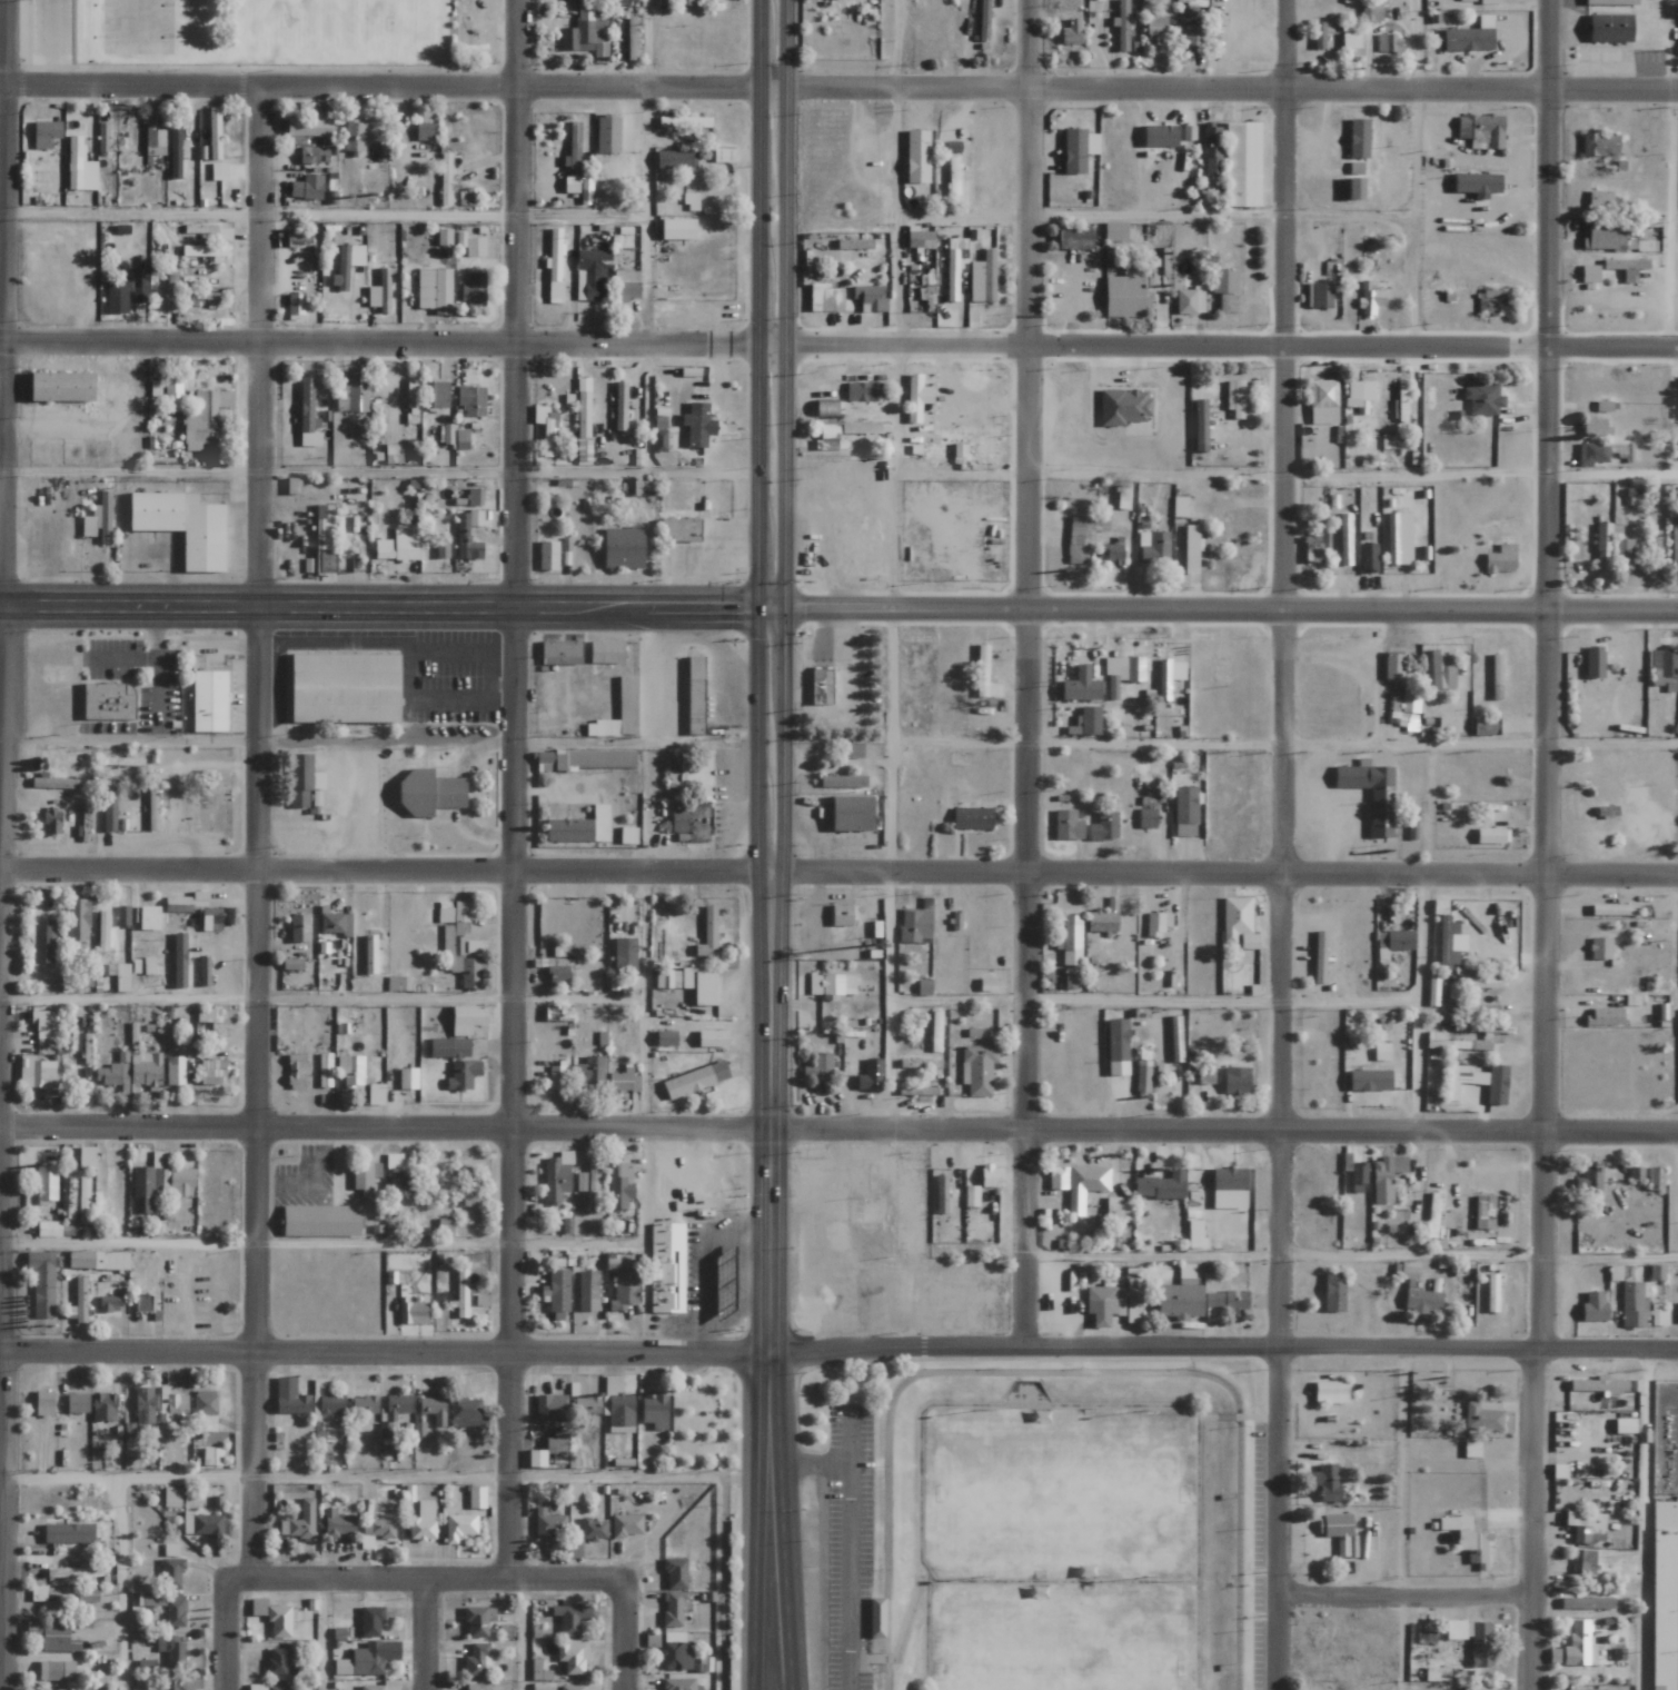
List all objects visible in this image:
building: (1487, 1)
building: (1609, 2)
building: (1193, 4)
building: (1370, 12)
building: (984, 20)
building: (1123, 24)
building: (1605, 29)
building: (1155, 30)
building: (1072, 32)
building: (587, 33)
building: (1318, 34)
building: (1193, 36)
building: (1677, 37)
building: (1467, 38)
building: (633, 39)
building: (1348, 41)
road: (647, 43)
building: (1386, 44)
road: (838, 86)
building: (686, 122)
building: (216, 123)
building: (310, 127)
building: (1478, 129)
building: (427, 131)
building: (47, 133)
building: (608, 135)
building: (1163, 136)
building: (103, 138)
building: (354, 138)
building: (1354, 138)
building: (155, 140)
building: (1596, 143)
building: (1080, 149)
building: (575, 150)
building: (1212, 151)
building: (175, 152)
building: (379, 153)
building: (311, 155)
building: (919, 156)
building: (677, 159)
building: (1245, 163)
building: (80, 167)
building: (219, 171)
road: (1416, 175)
building: (953, 176)
building: (445, 179)
building: (330, 181)
building: (1473, 182)
building: (307, 188)
building: (580, 188)
building: (1353, 188)
building: (468, 197)
building: (1598, 200)
building: (692, 202)
road: (322, 215)
road: (646, 215)
road: (1089, 215)
road: (1350, 215)
building: (678, 229)
building: (1118, 231)
building: (444, 237)
building: (921, 238)
building: (1078, 239)
building: (471, 245)
building: (205, 251)
building: (347, 264)
building: (556, 265)
building: (1625, 267)
building: (1587, 274)
building: (952, 276)
building: (983, 278)
building: (201, 282)
building: (139, 286)
building: (627, 286)
building: (474, 289)
building: (1227, 289)
building: (170, 290)
building: (435, 290)
building: (381, 291)
building: (1128, 294)
building: (1318, 296)
building: (118, 297)
building: (827, 298)
building: (871, 298)
building: (1369, 298)
building: (1191, 300)
building: (1487, 306)
building: (296, 307)
road: (838, 344)
road: (2, 370)
building: (63, 386)
building: (862, 391)
building: (172, 395)
building: (353, 395)
building: (413, 395)
building: (436, 395)
building: (1357, 395)
building: (919, 397)
building: (1239, 397)
building: (1480, 398)
building: (473, 400)
building: (1320, 401)
building: (1398, 401)
building: (620, 406)
building: (1124, 406)
building: (1600, 406)
building: (830, 408)
building: (308, 415)
building: (205, 418)
building: (699, 425)
building: (1597, 427)
building: (545, 428)
building: (862, 428)
building: (1134, 429)
building: (831, 431)
road: (892, 435)
building: (454, 437)
building: (661, 440)
building: (1386, 441)
building: (396, 453)
building: (1590, 453)
road: (378, 473)
road: (1353, 477)
building: (475, 496)
building: (1634, 498)
building: (1181, 507)
building: (476, 517)
building: (100, 520)
building: (460, 523)
building: (187, 526)
building: (682, 530)
building: (1082, 536)
building: (1397, 538)
building: (326, 539)
building: (1343, 539)
building: (1675, 543)
building: (399, 546)
building: (1601, 546)
building: (1153, 547)
building: (468, 548)
building: (624, 548)
building: (1656, 548)
building: (441, 549)
building: (1193, 549)
building: (1111, 554)
building: (1621, 554)
building: (549, 556)
building: (1367, 556)
building: (1498, 559)
road: (757, 561)
road: (781, 561)
building: (308, 566)
traffic signals: (757, 609)
traffic signals: (781, 609)
road: (838, 609)
road: (386, 630)
road: (340, 644)
road: (399, 645)
building: (560, 653)
building: (607, 653)
road: (335, 657)
road: (461, 658)
building: (1662, 663)
building: (1590, 664)
building: (697, 667)
building: (1438, 668)
building: (1390, 669)
parking lot: (403, 672)
road: (1030, 673)
building: (1123, 673)
building: (986, 675)
road: (1542, 675)
building: (1169, 677)
road: (450, 678)
road: (503, 678)
building: (1657, 678)
road: (408, 682)
road: (269, 683)
road: (291, 683)
building: (1083, 686)
building: (824, 687)
building: (345, 689)
road: (398, 690)
building: (627, 698)
building: (210, 700)
building: (109, 703)
road: (461, 705)
building: (1403, 707)
building: (1088, 722)
road: (385, 723)
building: (1446, 724)
building: (1482, 726)
building: (1677, 732)
road: (498, 738)
road: (378, 740)
road: (1283, 745)
building: (855, 752)
road: (1343, 754)
road: (425, 755)
road: (1307, 755)
building: (545, 757)
building: (596, 759)
road: (443, 769)
building: (673, 774)
building: (305, 779)
building: (844, 782)
building: (54, 783)
road: (1314, 787)
road: (516, 789)
building: (399, 791)
road: (498, 791)
building: (1373, 792)
road: (459, 793)
building: (431, 795)
road: (1394, 796)
road: (1307, 801)
road: (1307, 802)
building: (109, 805)
building: (152, 806)
road: (1321, 808)
parking lot: (1329, 809)
building: (1186, 812)
road: (1332, 813)
road: (1359, 813)
building: (853, 814)
building: (83, 817)
building: (973, 817)
building: (1148, 818)
building: (52, 822)
road: (444, 823)
building: (692, 825)
building: (1068, 825)
building: (1105, 826)
road: (425, 827)
building: (583, 827)
building: (1409, 827)
road: (256, 832)
building: (1488, 835)
road: (1332, 837)
road: (498, 838)
road: (1357, 838)
road: (1382, 838)
road: (1282, 845)
road: (448, 856)
road: (1368, 856)
road: (838, 871)
building: (178, 904)
building: (1610, 909)
building: (456, 912)
building: (844, 915)
building: (1105, 917)
building: (148, 918)
building: (78, 919)
building: (212, 919)
building: (1240, 923)
building: (1159, 924)
building: (915, 925)
building: (299, 928)
building: (102, 932)
building: (709, 935)
road: (1671, 935)
building: (1392, 940)
building: (48, 941)
building: (1070, 941)
building: (324, 947)
building: (473, 947)
building: (1598, 948)
building: (370, 954)
building: (1317, 956)
building: (171, 961)
building: (459, 961)
building: (292, 964)
building: (625, 964)
building: (150, 966)
building: (203, 971)
building: (560, 974)
building: (122, 978)
building: (691, 983)
building: (1476, 983)
building: (401, 984)
building: (833, 985)
building: (925, 987)
road: (642, 998)
road: (959, 998)
road: (320, 1000)
road: (890, 1000)
road: (1222, 1001)
road: (1417, 1003)
building: (1479, 1011)
building: (557, 1014)
building: (216, 1015)
building: (1601, 1016)
building: (469, 1020)
building: (43, 1024)
building: (936, 1032)
building: (133, 1033)
building: (668, 1038)
building: (714, 1038)
building: (1178, 1038)
building: (1120, 1047)
building: (449, 1048)
building: (1379, 1052)
building: (146, 1070)
building: (979, 1070)
building: (173, 1071)
building: (296, 1071)
building: (350, 1071)
building: (589, 1071)
building: (37, 1072)
building: (211, 1073)
building: (821, 1073)
building: (111, 1075)
building: (324, 1075)
building: (464, 1075)
building: (871, 1075)
building: (1143, 1076)
building: (557, 1077)
building: (408, 1078)
building: (622, 1080)
building: (697, 1080)
building: (1238, 1081)
building: (1366, 1081)
building: (1475, 1082)
building: (376, 1094)
road: (838, 1125)
building: (87, 1157)
building: (393, 1162)
building: (1356, 1173)
building: (1634, 1173)
building: (986, 1175)
building: (1589, 1175)
building: (1382, 1176)
building: (365, 1177)
building: (1054, 1177)
building: (1652, 1177)
building: (182, 1183)
building: (46, 1184)
building: (146, 1185)
building: (401, 1185)
building: (588, 1185)
building: (619, 1185)
building: (1082, 1185)
building: (1156, 1185)
building: (469, 1187)
building: (1224, 1187)
building: (939, 1192)
building: (969, 1195)
building: (71, 1199)
building: (83, 1201)
building: (1116, 1209)
building: (377, 1210)
building: (1481, 1212)
building: (1431, 1214)
building: (321, 1221)
building: (445, 1227)
building: (48, 1229)
building: (1191, 1233)
road: (643, 1241)
road: (128, 1243)
road: (450, 1243)
road: (1351, 1255)
building: (99, 1261)
building: (727, 1267)
building: (667, 1269)
building: (1406, 1270)
building: (1655, 1272)
building: (1611, 1273)
building: (42, 1282)
building: (625, 1290)
building: (1330, 1290)
building: (463, 1291)
building: (557, 1291)
building: (588, 1292)
building: (1490, 1292)
building: (725, 1300)
building: (1132, 1300)
building: (1174, 1300)
building: (1420, 1300)
building: (79, 1301)
building: (142, 1303)
building: (109, 1304)
building: (1101, 1304)
building: (1221, 1304)
building: (1632, 1304)
building: (1590, 1306)
building: (413, 1312)
building: (1677, 1312)
building: (1658, 1315)
road: (2, 1343)
road: (838, 1349)
road: (1053, 1374)
building: (1596, 1386)
building: (1328, 1391)
building: (291, 1396)
building: (399, 1402)
building: (43, 1403)
building: (78, 1403)
building: (332, 1403)
building: (143, 1404)
building: (365, 1404)
building: (609, 1405)
building: (103, 1406)
building: (550, 1406)
road: (756, 1406)
road: (776, 1406)
building: (171, 1408)
road: (924, 1408)
building: (435, 1409)
building: (466, 1409)
building: (206, 1410)
building: (656, 1412)
building: (1479, 1415)
road: (1235, 1416)
building: (463, 1422)
building: (1622, 1425)
building: (384, 1431)
building: (216, 1439)
building: (558, 1450)
building: (214, 1457)
building: (538, 1458)
road: (813, 1462)
road: (489, 1475)
road: (129, 1477)
building: (1323, 1482)
building: (575, 1493)
road: (1060, 1493)
building: (543, 1495)
building: (172, 1497)
building: (477, 1498)
road: (1401, 1519)
road: (1531, 1520)
road: (1646, 1521)
building: (299, 1522)
building: (423, 1522)
building: (339, 1523)
building: (203, 1524)
building: (1583, 1524)
building: (626, 1525)
building: (460, 1527)
building: (593, 1529)
building: (376, 1531)
building: (68, 1533)
building: (1336, 1533)
building: (1466, 1540)
road: (1237, 1544)
parking lot: (847, 1548)
road: (847, 1549)
building: (576, 1553)
road: (887, 1554)
building: (1581, 1561)
building: (69, 1572)
building: (171, 1573)
building: (676, 1573)
road: (923, 1574)
road: (240, 1579)
road: (440, 1579)
road: (721, 1582)
road: (120, 1583)
building: (89, 1594)
building: (1659, 1595)
road: (1402, 1598)
building: (51, 1599)
building: (153, 1599)
building: (1585, 1602)
building: (675, 1608)
building: (175, 1610)
building: (275, 1618)
building: (574, 1618)
building: (871, 1618)
building: (376, 1619)
building: (477, 1622)
road: (226, 1634)
road: (324, 1634)
road: (425, 1634)
road: (522, 1634)
road: (626, 1634)
road: (1059, 1636)
road: (1194, 1636)
building: (58, 1637)
building: (1470, 1639)
building: (1576, 1646)
building: (172, 1651)
building: (677, 1654)
building: (574, 1657)
building: (369, 1659)
building: (476, 1661)
building: (276, 1662)
building: (57, 1670)
building: (171, 1684)
building: (679, 1684)
building: (383, 1686)
building: (478, 1686)
building: (269, 1687)
building: (572, 1688)
building: (1477, 1688)
building: (66, 1689)
building: (1569, 1689)

